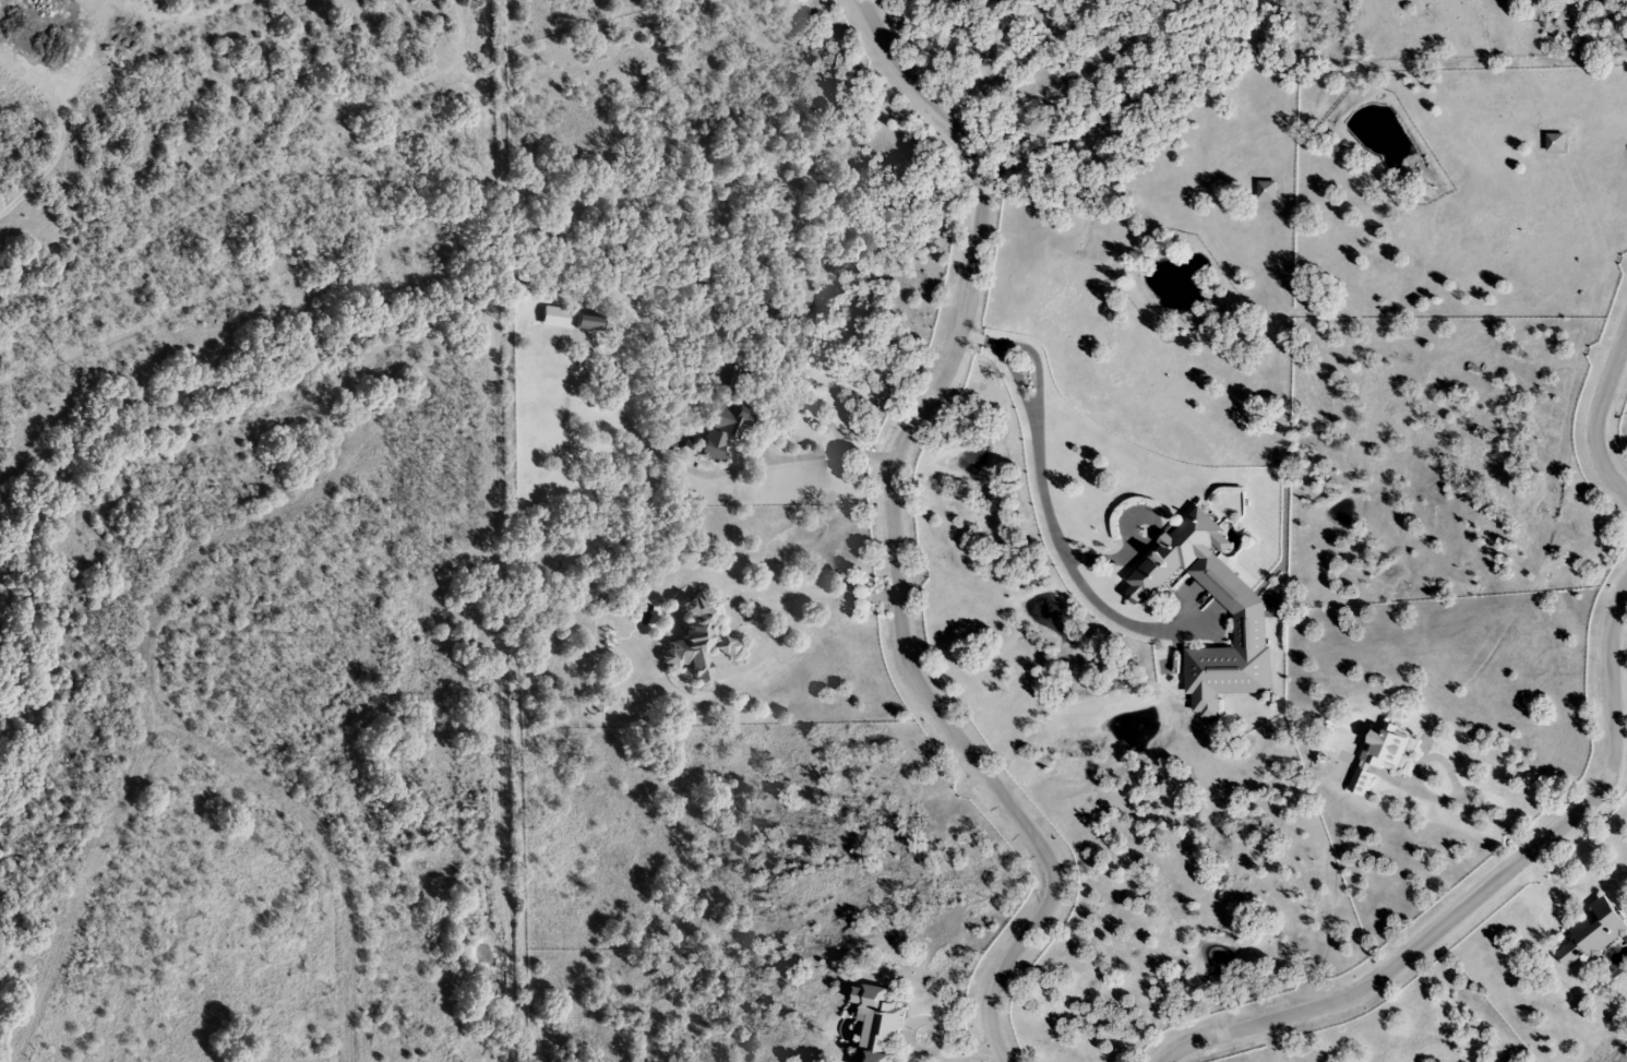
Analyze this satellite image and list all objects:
building: (1554, 143)
building: (1266, 191)
building: (586, 324)
building: (719, 377)
road: (1596, 415)
building: (719, 429)
road: (894, 535)
road: (199, 551)
building: (1245, 609)
building: (697, 644)
building: (1378, 755)
road: (330, 848)
road: (84, 894)
road: (1481, 894)
building: (1594, 933)
building: (877, 1023)

